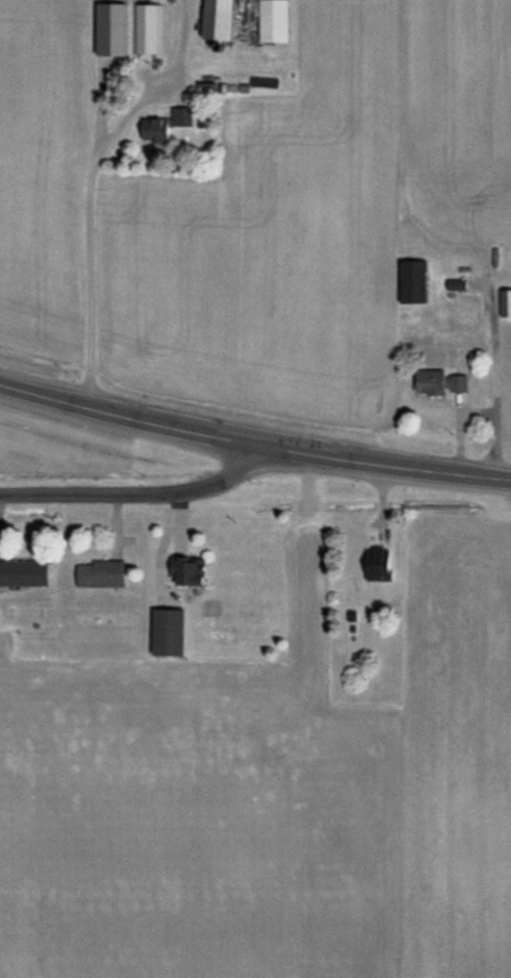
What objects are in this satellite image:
building: (224, 19)
building: (148, 28)
building: (168, 125)
building: (416, 282)
building: (505, 303)
building: (444, 383)
road: (495, 383)
road: (253, 443)
road: (143, 494)
building: (382, 564)
building: (192, 571)
building: (26, 574)
building: (105, 574)
building: (174, 632)

